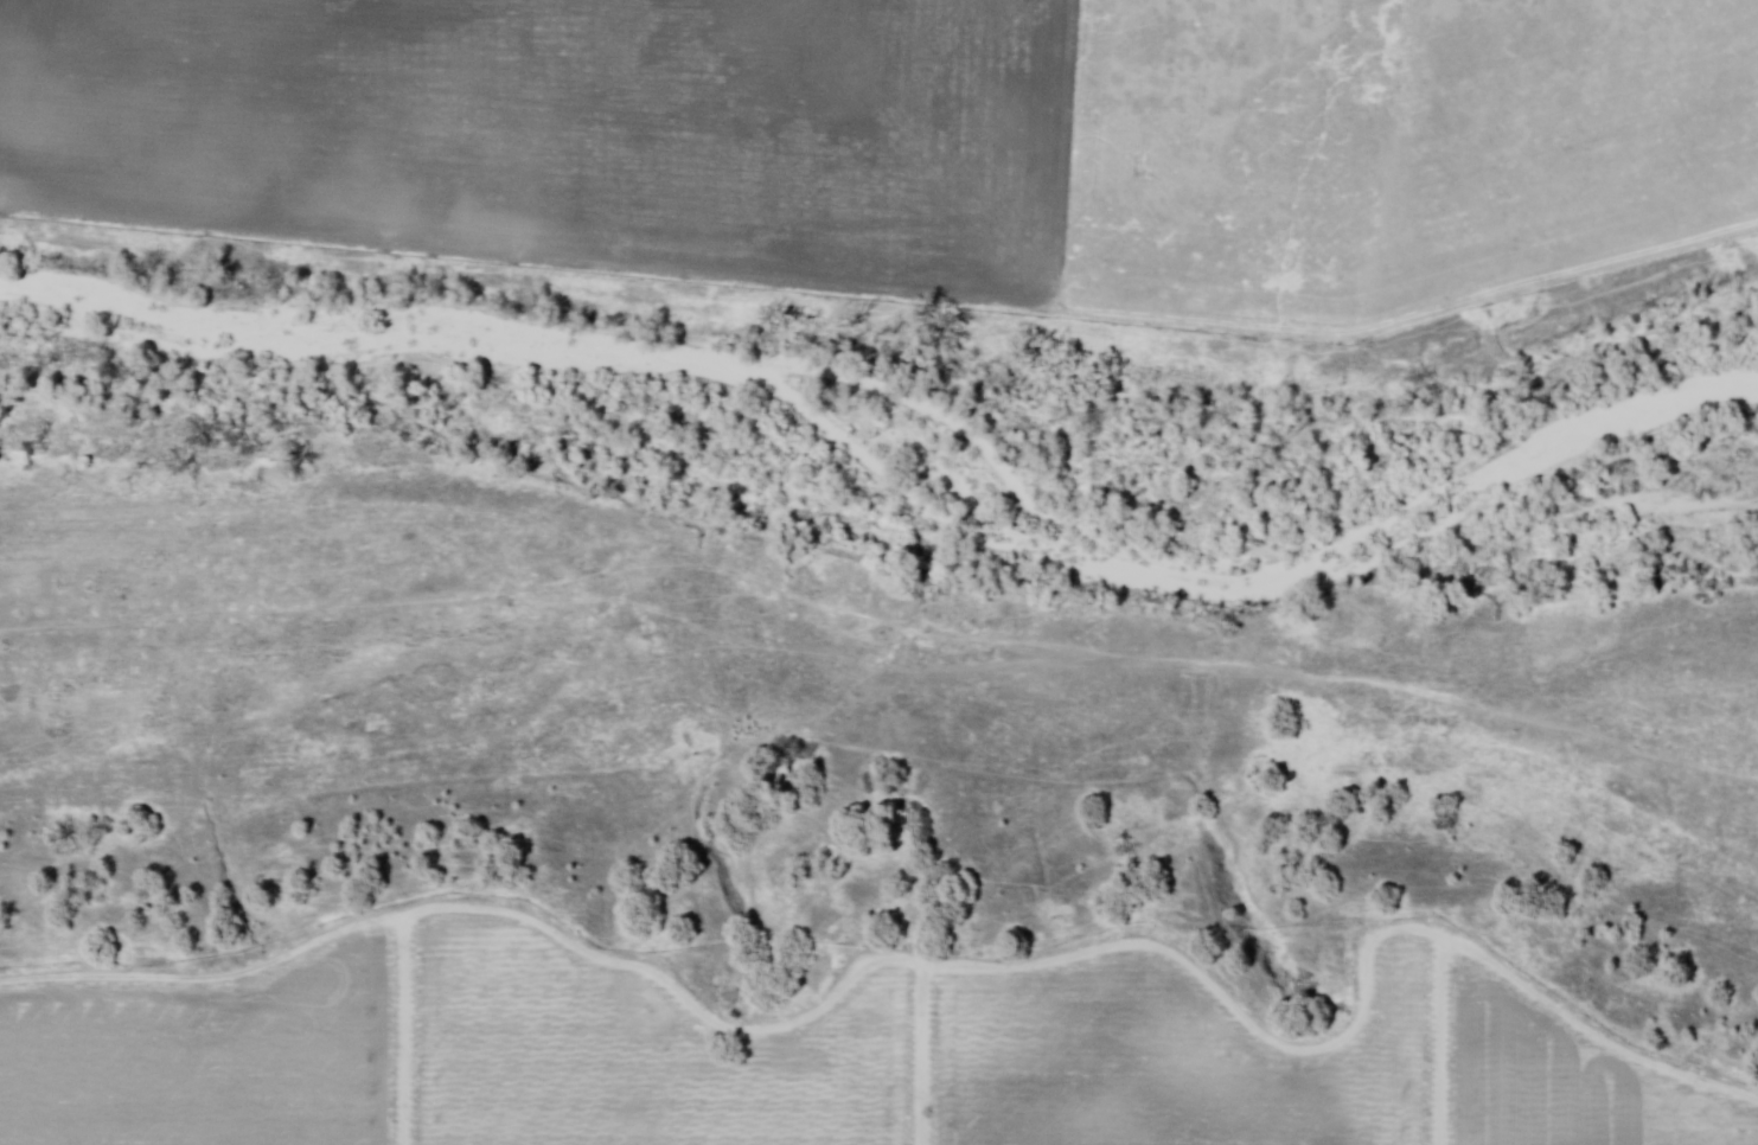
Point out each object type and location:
crop: (916, 133)
river: (886, 469)
road: (929, 967)
road: (405, 1030)
road: (1443, 1041)
road: (925, 1056)

